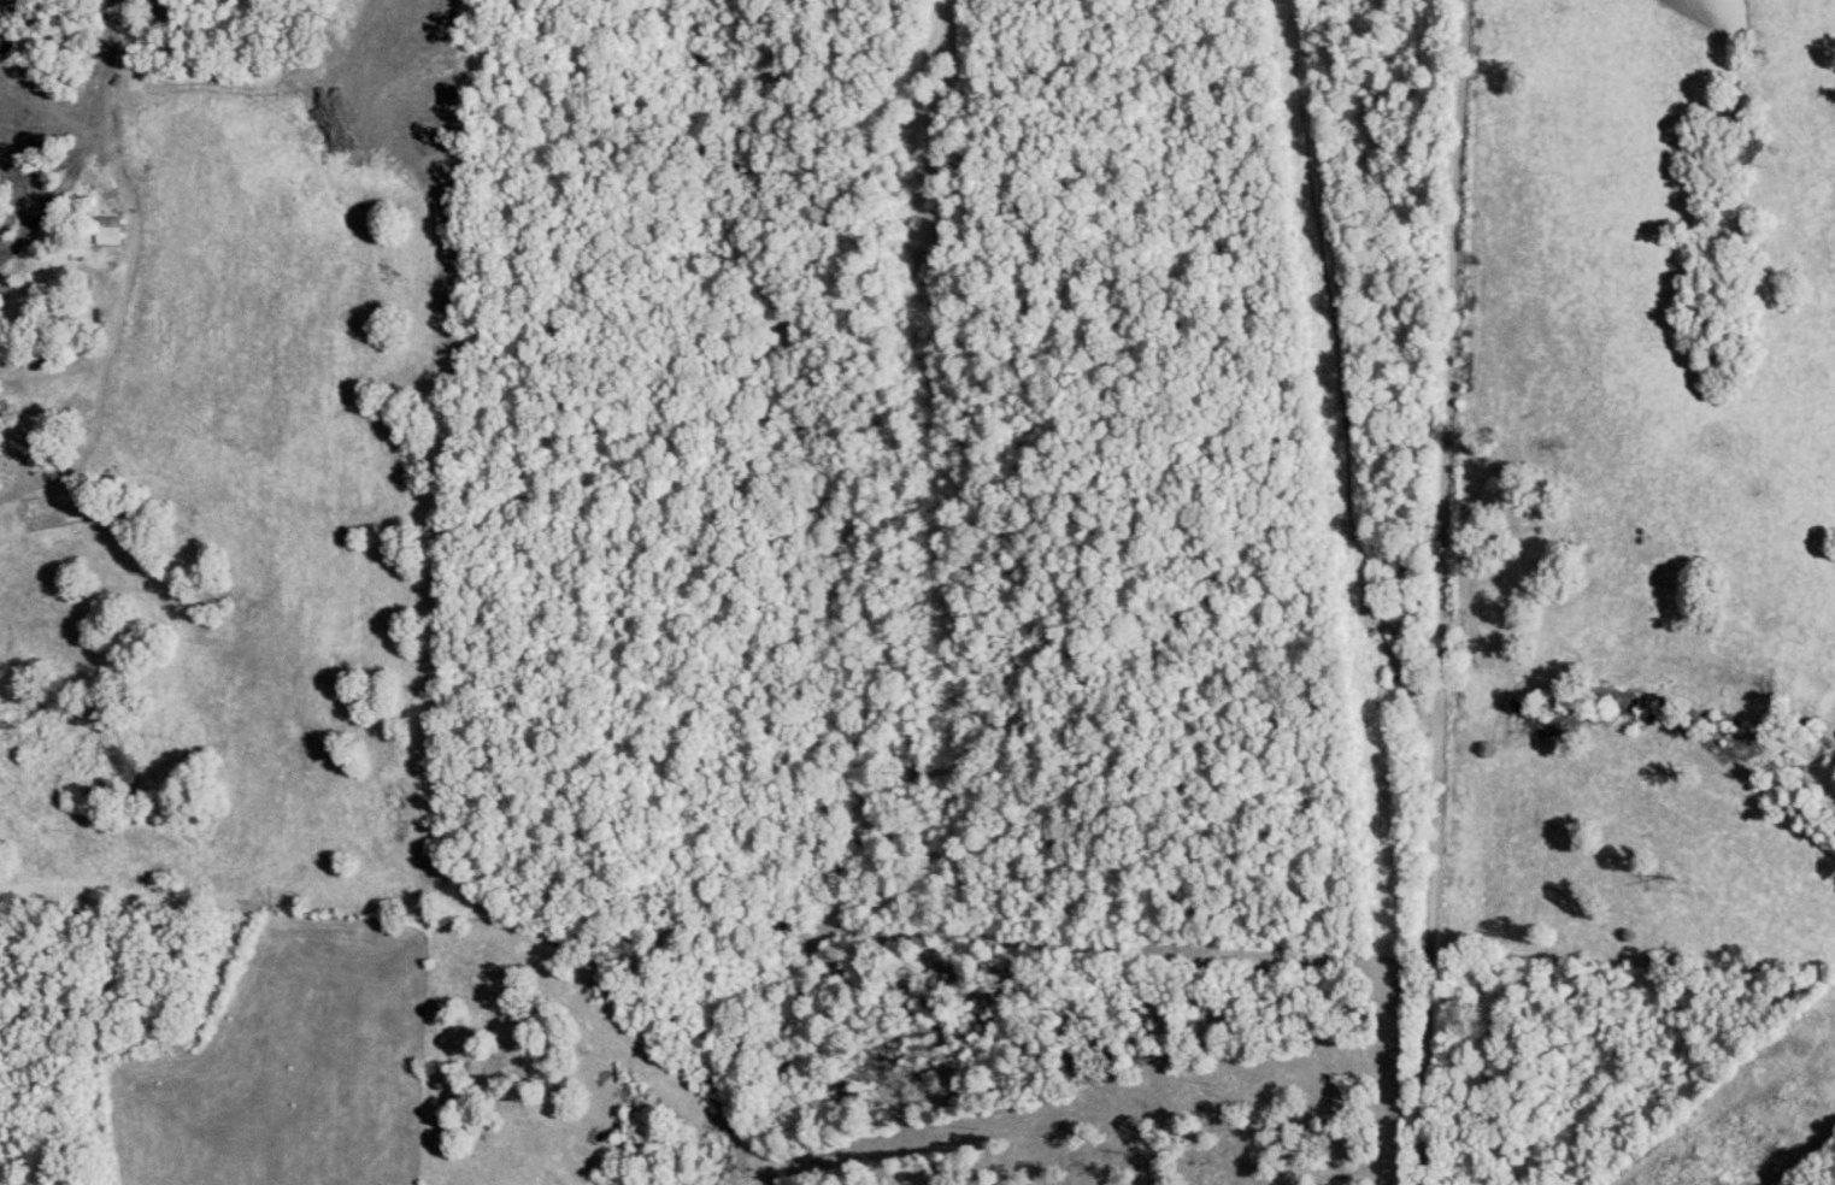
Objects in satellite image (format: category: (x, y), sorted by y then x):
road: (81, 218)
building: (110, 240)
road: (1434, 592)

